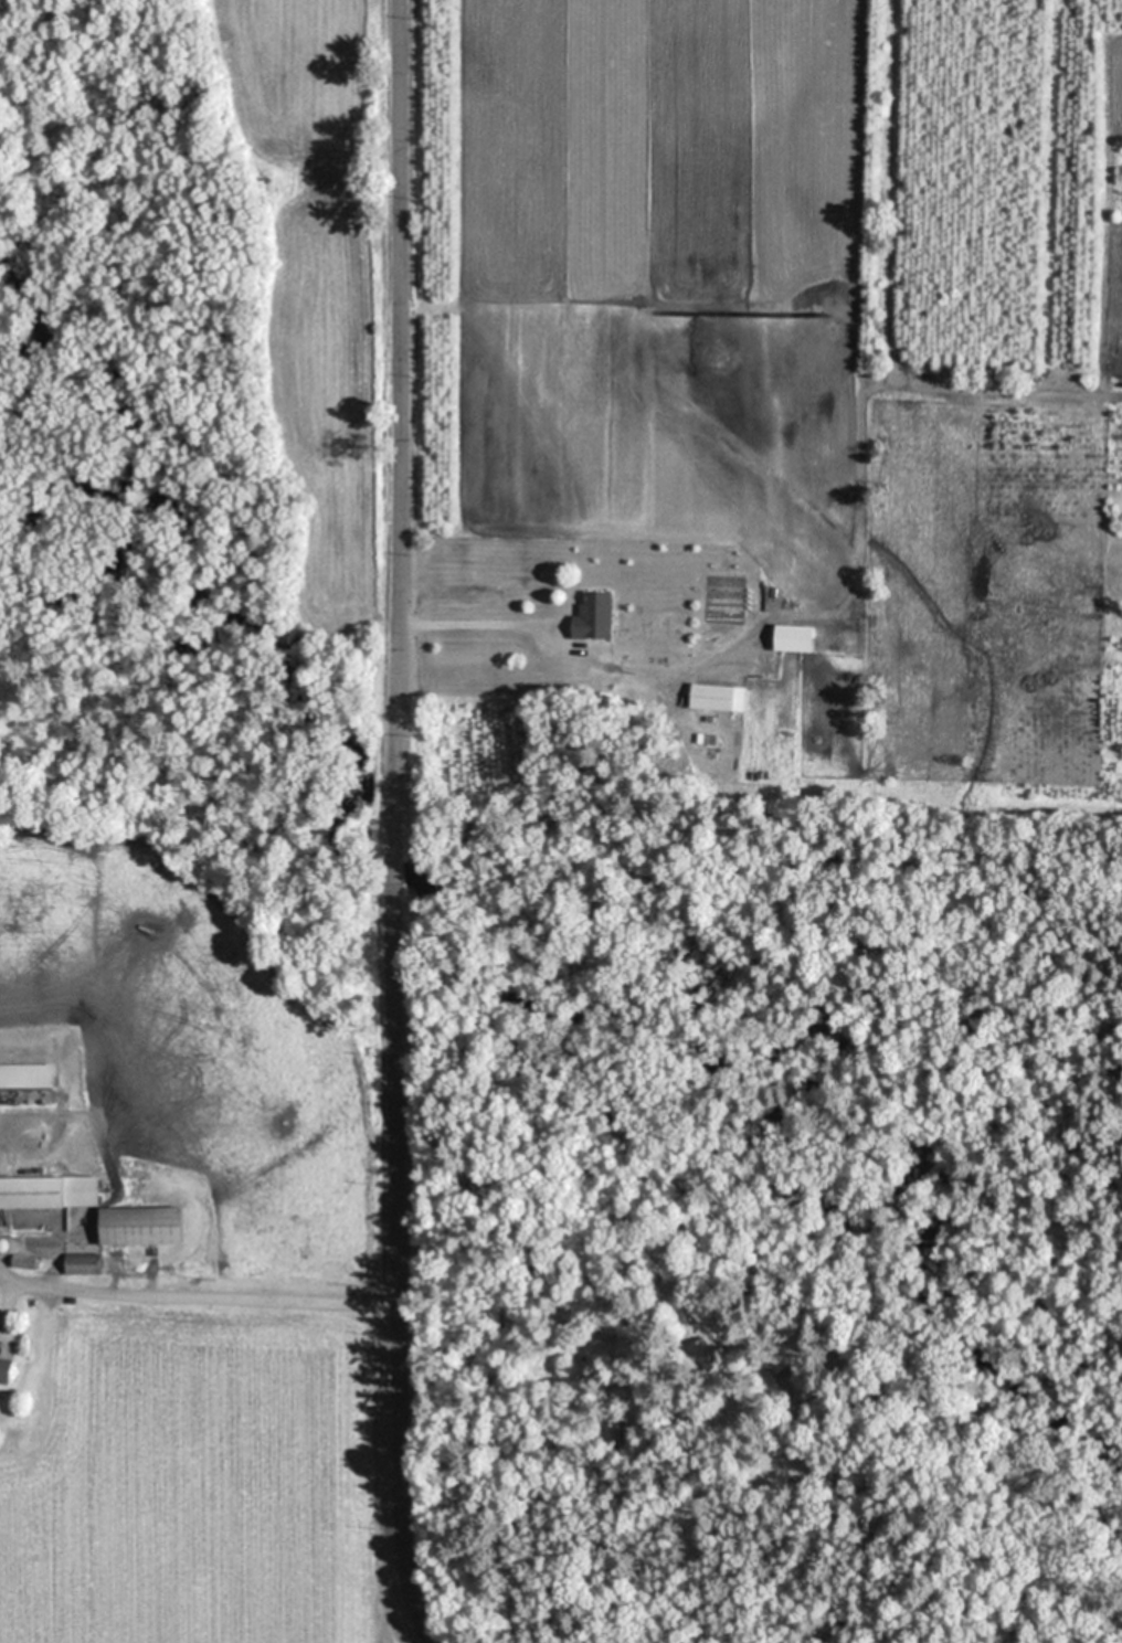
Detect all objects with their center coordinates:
building: (594, 616)
road: (467, 623)
building: (712, 697)
road: (392, 823)
building: (27, 1077)
building: (49, 1192)
building: (139, 1227)
building: (22, 1262)
building: (82, 1265)
road: (4, 1279)
road: (204, 1295)
building: (707, 1355)
building: (4, 1369)
building: (790, 1396)

